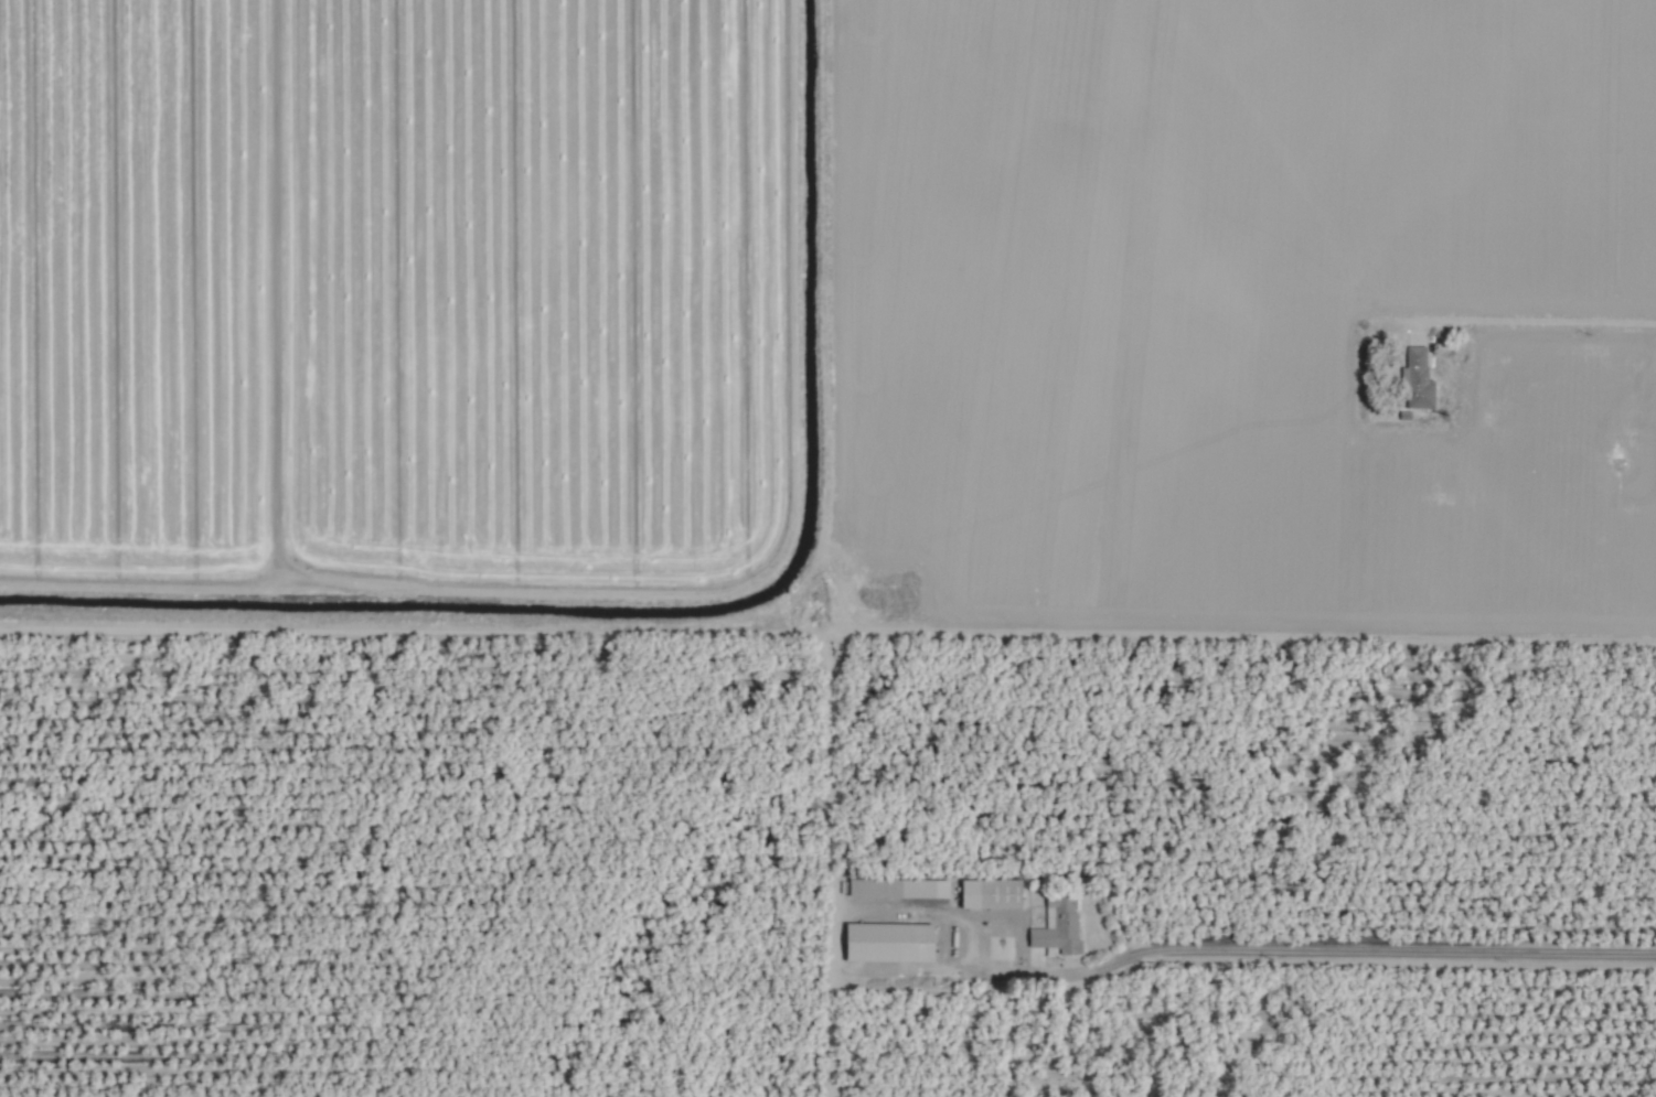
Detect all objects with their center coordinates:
road: (1525, 320)
building: (1420, 379)
crop: (827, 548)
building: (995, 893)
building: (1061, 927)
building: (894, 942)
road: (1312, 950)

